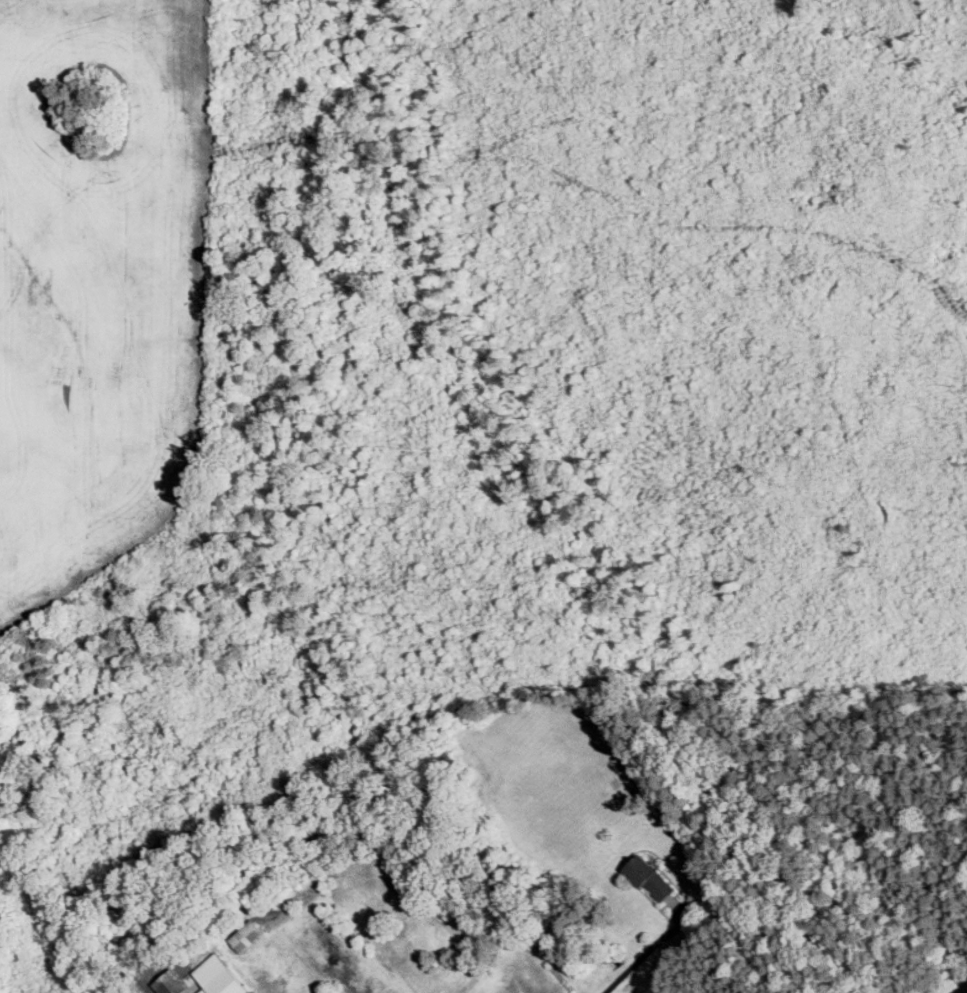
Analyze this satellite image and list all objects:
building: (653, 877)
building: (249, 935)
road: (644, 955)
building: (263, 974)
building: (323, 991)

